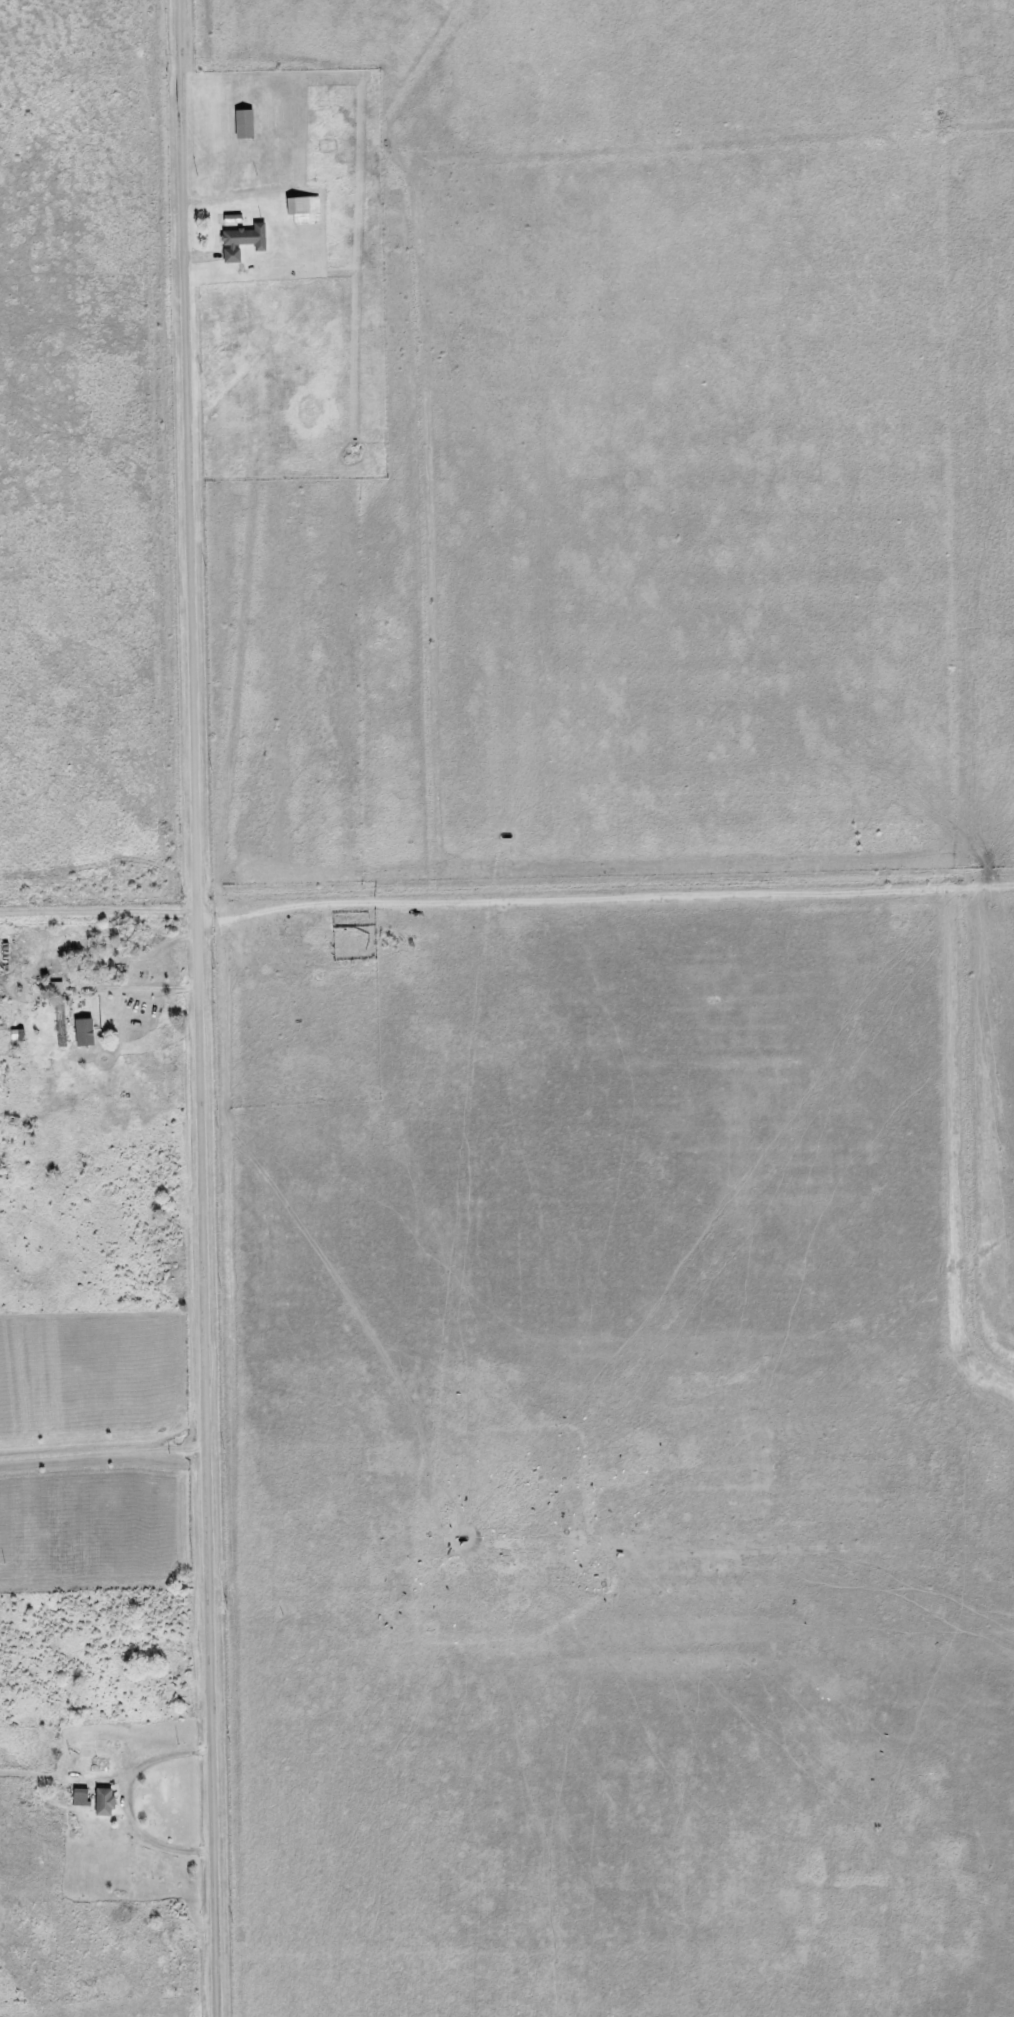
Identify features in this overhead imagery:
building: (245, 125)
building: (305, 211)
building: (243, 242)
road: (611, 902)
building: (57, 988)
road: (210, 1008)
building: (85, 1032)
road: (109, 1448)
building: (87, 1764)
building: (81, 1798)
building: (106, 1803)

